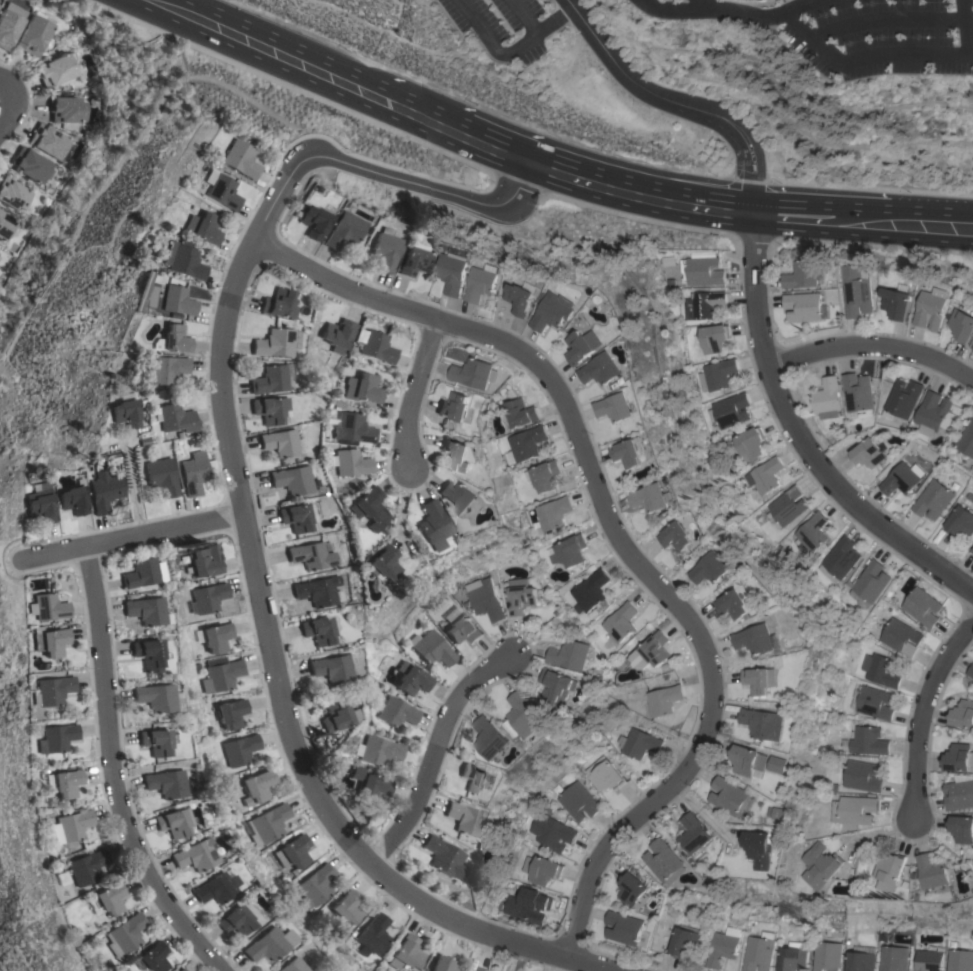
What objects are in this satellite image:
building: (763, 0)
road: (712, 6)
road: (789, 10)
road: (170, 12)
road: (196, 12)
road: (881, 21)
building: (9, 24)
road: (961, 28)
road: (537, 32)
building: (33, 35)
road: (804, 39)
road: (491, 42)
building: (57, 70)
road: (7, 101)
road: (681, 102)
building: (67, 110)
building: (48, 142)
building: (239, 159)
building: (31, 166)
road: (583, 174)
building: (222, 192)
building: (12, 194)
building: (313, 223)
building: (5, 226)
building: (201, 228)
building: (342, 231)
building: (383, 250)
building: (182, 261)
building: (411, 262)
building: (704, 271)
building: (455, 272)
building: (805, 273)
building: (483, 284)
building: (857, 291)
building: (521, 298)
building: (176, 301)
building: (897, 303)
building: (278, 304)
building: (702, 304)
building: (805, 306)
building: (932, 308)
building: (555, 311)
building: (963, 325)
building: (338, 335)
building: (713, 338)
building: (175, 339)
building: (274, 343)
building: (584, 345)
building: (375, 346)
building: (972, 349)
road: (873, 352)
building: (602, 369)
building: (166, 370)
building: (474, 373)
building: (716, 375)
building: (269, 380)
building: (362, 389)
road: (418, 393)
building: (859, 394)
building: (828, 398)
building: (903, 400)
building: (454, 406)
building: (615, 407)
building: (269, 410)
building: (729, 410)
building: (521, 412)
building: (935, 413)
building: (122, 414)
building: (174, 421)
building: (349, 428)
road: (807, 437)
building: (967, 440)
building: (280, 443)
building: (526, 443)
building: (747, 443)
building: (456, 453)
building: (628, 453)
building: (868, 453)
building: (351, 463)
building: (194, 473)
building: (545, 475)
building: (764, 475)
building: (162, 476)
building: (900, 479)
building: (292, 480)
road: (129, 487)
building: (103, 491)
building: (458, 496)
building: (651, 497)
building: (71, 499)
building: (933, 500)
building: (37, 503)
building: (366, 505)
building: (787, 505)
road: (396, 508)
building: (553, 512)
building: (295, 518)
building: (960, 521)
building: (430, 525)
road: (248, 528)
building: (812, 531)
building: (678, 536)
road: (624, 537)
road: (135, 540)
building: (972, 549)
building: (570, 551)
building: (312, 555)
building: (839, 559)
building: (204, 564)
building: (379, 564)
building: (711, 568)
building: (143, 574)
building: (870, 583)
building: (593, 590)
building: (317, 591)
building: (520, 596)
building: (209, 597)
building: (484, 598)
building: (734, 604)
building: (922, 607)
building: (46, 608)
building: (145, 611)
building: (621, 623)
building: (463, 630)
building: (318, 631)
building: (901, 636)
building: (217, 637)
building: (760, 639)
building: (49, 642)
building: (432, 648)
building: (649, 652)
building: (149, 654)
building: (571, 655)
building: (334, 669)
building: (880, 670)
building: (971, 671)
building: (221, 676)
building: (412, 679)
building: (762, 679)
building: (558, 687)
building: (51, 691)
building: (154, 697)
building: (664, 699)
building: (875, 703)
building: (396, 712)
building: (232, 713)
building: (528, 714)
building: (963, 714)
building: (337, 716)
road: (927, 719)
building: (764, 723)
building: (491, 737)
building: (58, 738)
building: (868, 740)
building: (154, 742)
building: (639, 743)
building: (240, 750)
building: (380, 751)
building: (959, 758)
road: (440, 759)
building: (750, 759)
road: (117, 774)
building: (603, 774)
building: (863, 776)
building: (473, 779)
building: (68, 783)
building: (165, 784)
building: (257, 788)
building: (374, 789)
building: (959, 795)
building: (734, 797)
building: (578, 801)
building: (855, 809)
building: (782, 813)
building: (462, 819)
building: (173, 823)
building: (271, 823)
building: (72, 827)
building: (962, 827)
building: (551, 832)
building: (695, 833)
building: (762, 848)
building: (296, 851)
building: (194, 855)
building: (442, 857)
building: (665, 860)
building: (88, 867)
building: (823, 867)
building: (540, 869)
building: (892, 871)
building: (934, 871)
building: (316, 887)
building: (215, 889)
building: (635, 891)
building: (108, 899)
building: (531, 903)
building: (347, 907)
building: (235, 922)
building: (626, 927)
building: (126, 933)
building: (374, 935)
building: (685, 940)
building: (267, 944)
building: (723, 946)
building: (758, 952)
building: (407, 954)
building: (827, 956)
building: (153, 957)
building: (792, 957)
building: (928, 957)
building: (893, 958)
building: (960, 960)
building: (860, 961)
building: (443, 964)
building: (291, 966)
building: (478, 969)
building: (180, 970)

